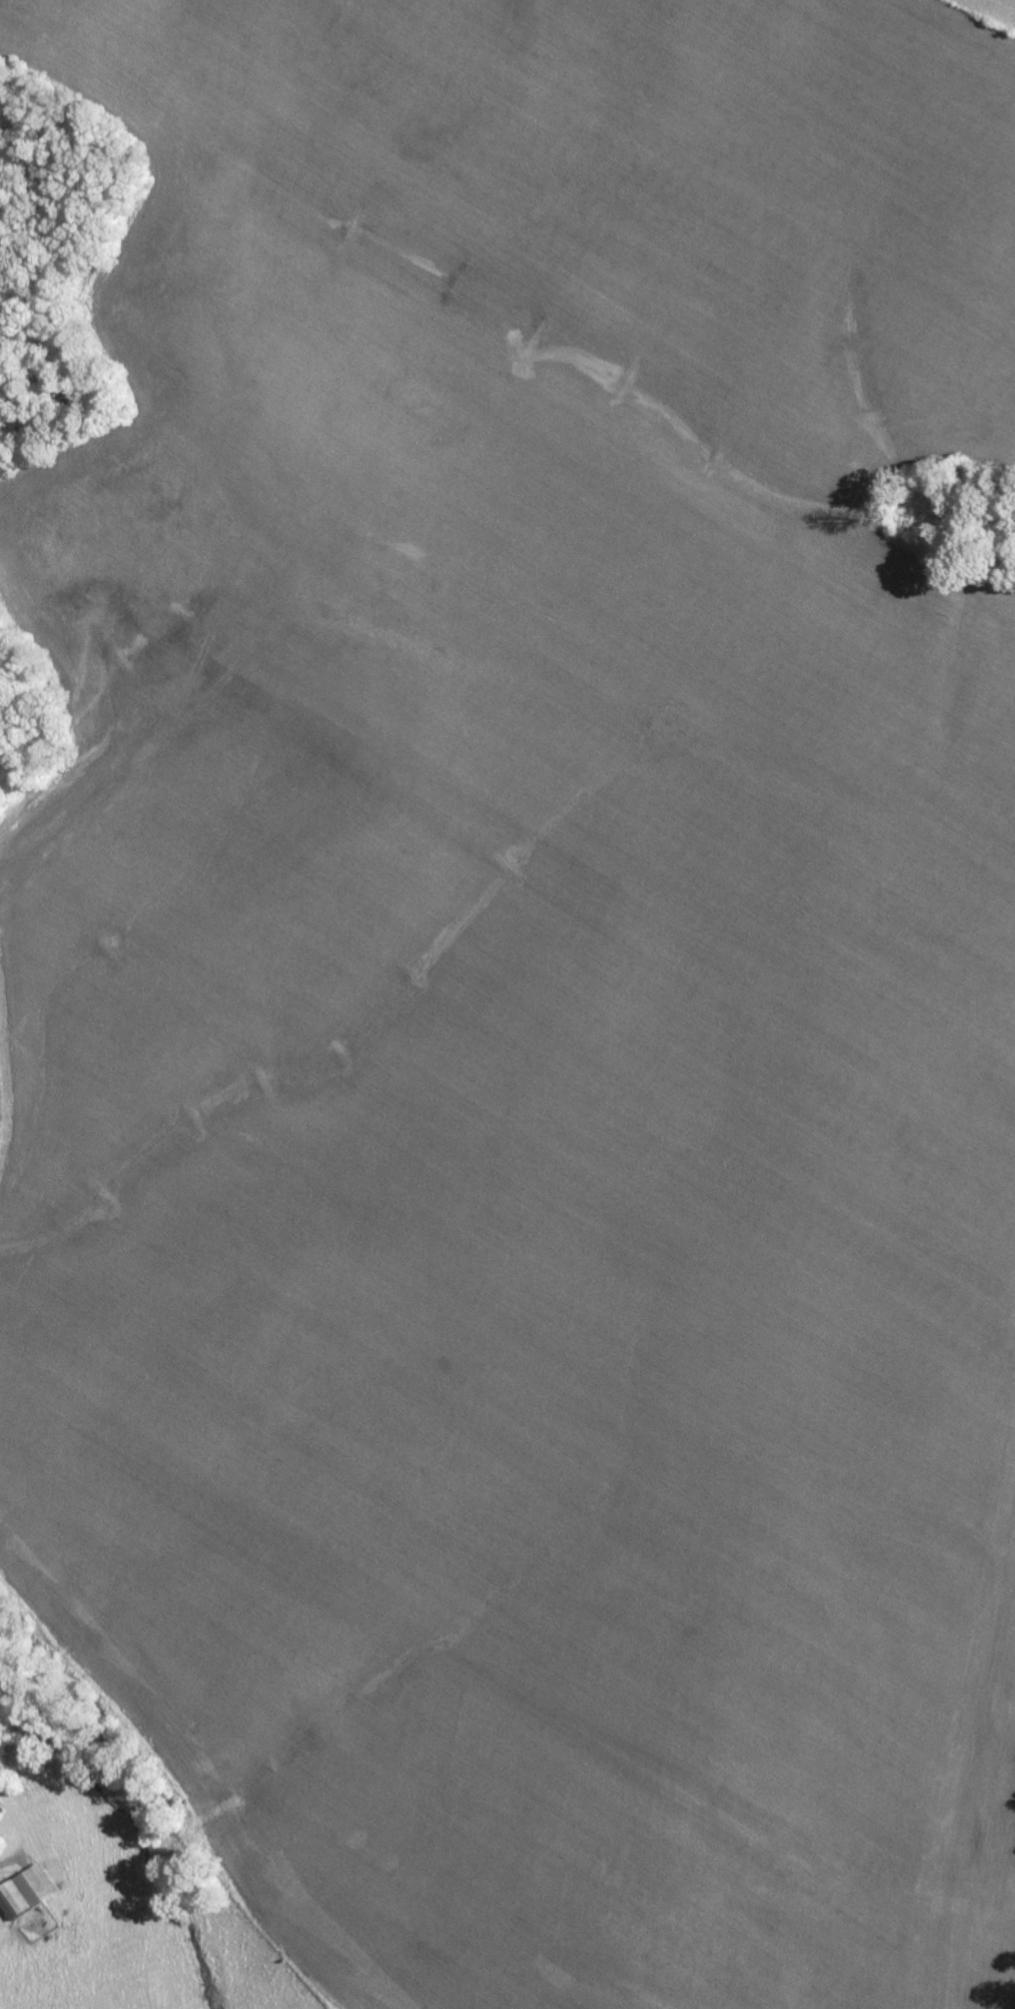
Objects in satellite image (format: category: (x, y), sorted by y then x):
building: (0, 1813)
building: (26, 1891)

